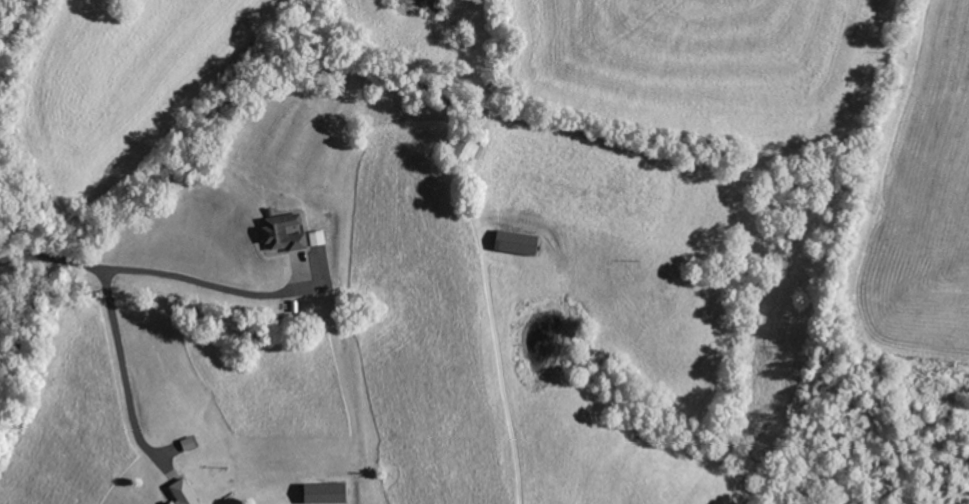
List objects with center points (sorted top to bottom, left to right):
building: (461, 150)
building: (282, 234)
building: (316, 239)
building: (513, 244)
road: (153, 271)
road: (124, 367)
building: (180, 493)
building: (322, 494)

